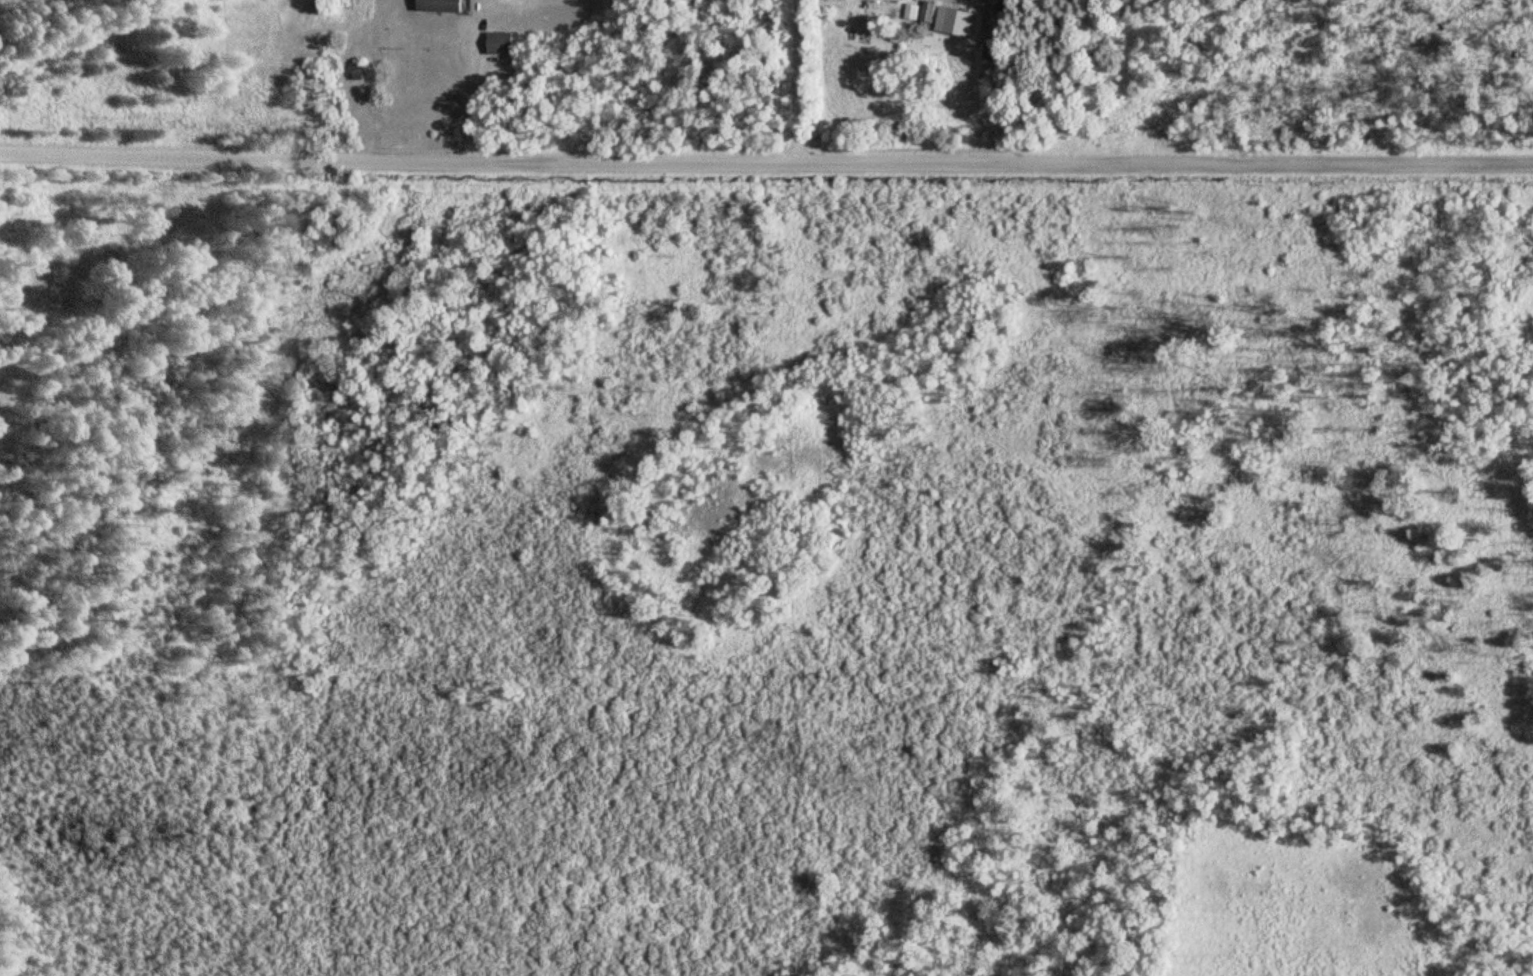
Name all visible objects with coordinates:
building: (443, 6)
building: (950, 20)
building: (502, 43)
road: (796, 80)
road: (766, 160)

